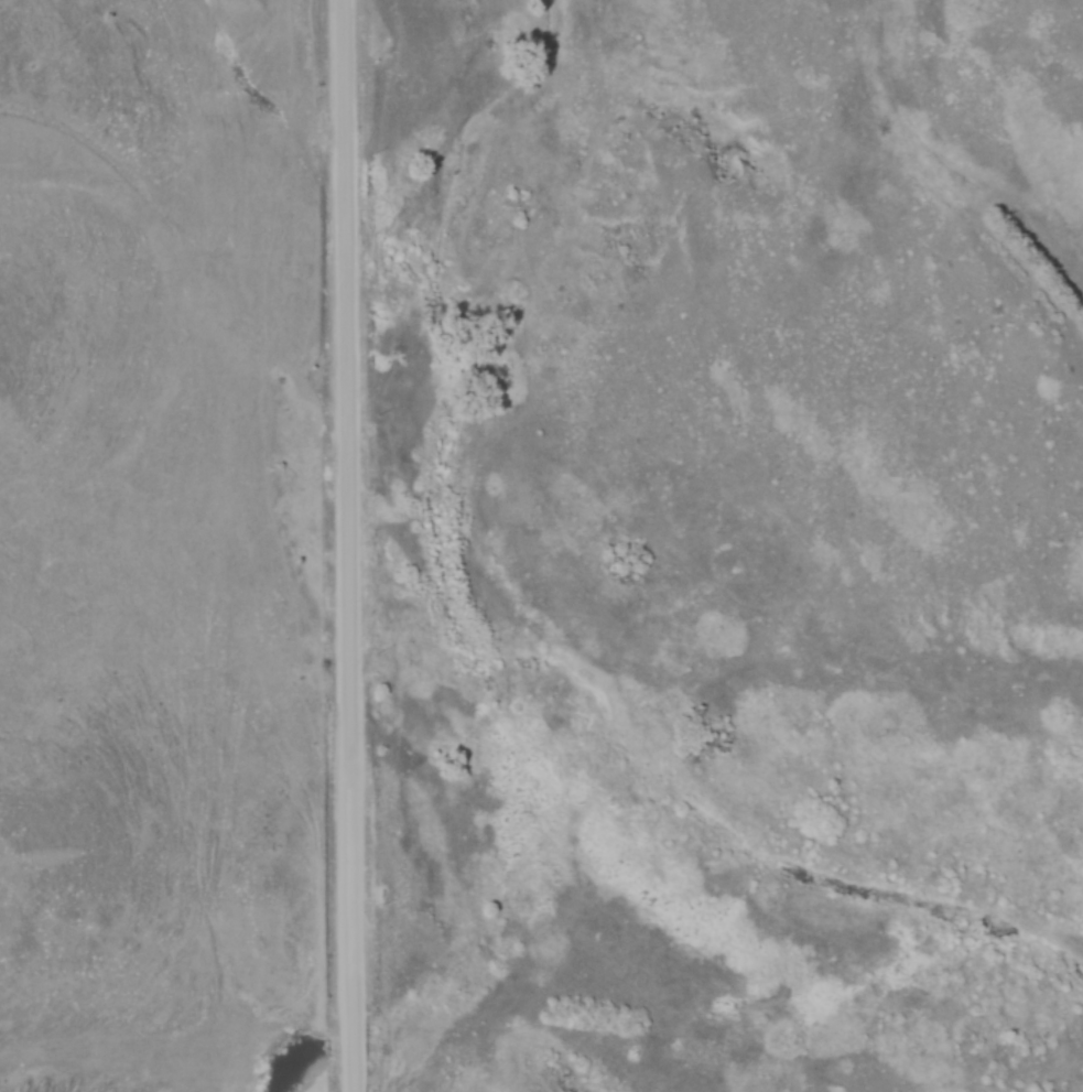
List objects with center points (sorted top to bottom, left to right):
road: (350, 545)

